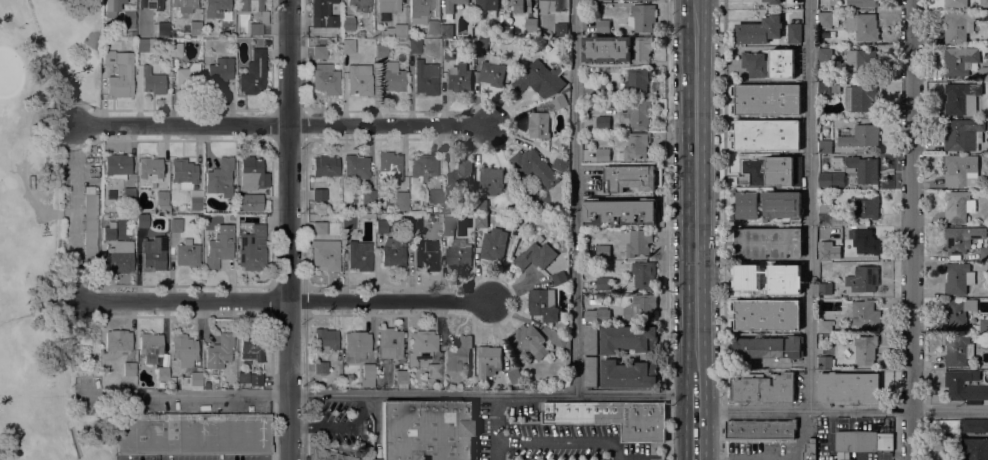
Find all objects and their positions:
building: (773, 1)
building: (861, 2)
building: (955, 3)
building: (984, 3)
building: (150, 4)
building: (360, 4)
building: (486, 4)
building: (184, 5)
building: (452, 5)
building: (520, 5)
building: (555, 5)
building: (387, 6)
building: (111, 7)
building: (419, 10)
building: (220, 14)
building: (322, 14)
building: (127, 17)
building: (264, 17)
building: (642, 17)
building: (827, 18)
building: (347, 23)
building: (531, 24)
building: (161, 25)
building: (602, 25)
building: (863, 25)
building: (958, 25)
building: (432, 27)
building: (192, 28)
building: (446, 28)
building: (498, 28)
building: (129, 29)
building: (561, 29)
building: (759, 30)
building: (395, 31)
building: (336, 32)
building: (794, 32)
building: (207, 33)
building: (360, 33)
building: (125, 41)
building: (257, 42)
building: (145, 45)
building: (347, 45)
building: (480, 45)
building: (414, 46)
building: (642, 48)
building: (175, 49)
building: (607, 49)
building: (381, 50)
building: (447, 51)
building: (319, 52)
building: (825, 56)
building: (960, 59)
building: (861, 60)
building: (754, 64)
building: (782, 64)
building: (215, 72)
building: (119, 73)
building: (253, 73)
building: (492, 73)
building: (983, 73)
park: (8, 76)
building: (392, 77)
building: (187, 78)
building: (425, 78)
building: (459, 78)
building: (325, 79)
building: (359, 79)
building: (540, 79)
building: (152, 81)
building: (636, 81)
building: (824, 88)
building: (565, 89)
building: (602, 90)
building: (863, 97)
building: (961, 97)
building: (767, 98)
building: (559, 101)
building: (588, 106)
building: (639, 113)
road: (33, 120)
building: (603, 122)
building: (539, 124)
road: (391, 125)
road: (183, 126)
building: (963, 134)
building: (767, 135)
building: (859, 135)
building: (635, 146)
building: (825, 146)
building: (603, 154)
building: (839, 160)
building: (560, 164)
building: (117, 166)
building: (355, 166)
building: (423, 166)
building: (534, 166)
building: (324, 167)
building: (389, 167)
building: (862, 168)
building: (959, 168)
building: (149, 171)
building: (772, 171)
building: (183, 173)
building: (252, 174)
building: (220, 177)
building: (629, 177)
building: (831, 178)
building: (457, 179)
building: (492, 179)
road: (74, 183)
road: (697, 193)
building: (128, 194)
building: (318, 194)
building: (367, 196)
building: (434, 196)
road: (575, 197)
building: (195, 199)
building: (162, 201)
building: (400, 201)
building: (255, 203)
building: (747, 204)
road: (808, 204)
building: (481, 205)
building: (782, 205)
building: (956, 205)
building: (866, 206)
building: (378, 209)
building: (637, 209)
building: (831, 215)
building: (131, 218)
building: (429, 218)
building: (603, 218)
building: (483, 220)
building: (142, 221)
building: (414, 221)
building: (347, 222)
building: (175, 224)
building: (90, 225)
building: (447, 225)
building: (381, 226)
building: (601, 227)
building: (319, 228)
road: (291, 230)
building: (601, 230)
road: (665, 230)
road: (724, 230)
road: (911, 230)
park: (51, 232)
building: (108, 233)
building: (962, 237)
building: (636, 241)
building: (866, 241)
building: (768, 242)
building: (493, 245)
building: (218, 249)
building: (251, 249)
building: (603, 250)
building: (154, 252)
building: (393, 252)
building: (187, 253)
building: (458, 253)
building: (825, 253)
building: (984, 253)
building: (325, 254)
building: (359, 255)
building: (426, 255)
building: (536, 255)
building: (120, 256)
building: (641, 274)
building: (754, 276)
building: (559, 277)
building: (958, 277)
building: (863, 278)
building: (602, 281)
building: (618, 288)
building: (825, 288)
building: (795, 289)
road: (184, 301)
building: (543, 303)
road: (391, 304)
building: (640, 308)
building: (958, 310)
building: (767, 313)
building: (865, 313)
building: (595, 315)
building: (984, 325)
building: (825, 326)
building: (562, 328)
building: (629, 338)
building: (325, 339)
building: (560, 339)
building: (590, 339)
building: (117, 340)
building: (529, 340)
building: (389, 343)
building: (252, 345)
building: (422, 345)
building: (150, 346)
building: (356, 346)
building: (769, 347)
building: (865, 348)
building: (183, 349)
building: (958, 350)
building: (458, 353)
building: (220, 354)
building: (488, 360)
building: (825, 361)
building: (320, 367)
building: (128, 369)
building: (434, 370)
building: (591, 371)
building: (162, 373)
building: (629, 374)
building: (514, 375)
building: (367, 376)
building: (401, 376)
building: (242, 377)
building: (256, 379)
building: (193, 381)
building: (965, 385)
building: (765, 387)
building: (848, 387)
road: (407, 396)
road: (842, 409)
building: (612, 417)
road: (696, 423)
building: (945, 425)
building: (974, 425)
road: (274, 427)
road: (303, 428)
road: (495, 428)
building: (424, 430)
building: (761, 430)
building: (147, 433)
building: (224, 433)
road: (802, 434)
road: (895, 434)
road: (927, 434)
building: (820, 435)
building: (863, 440)
road: (563, 441)
building: (976, 449)
building: (809, 450)
building: (944, 450)
building: (326, 453)
building: (845, 459)

